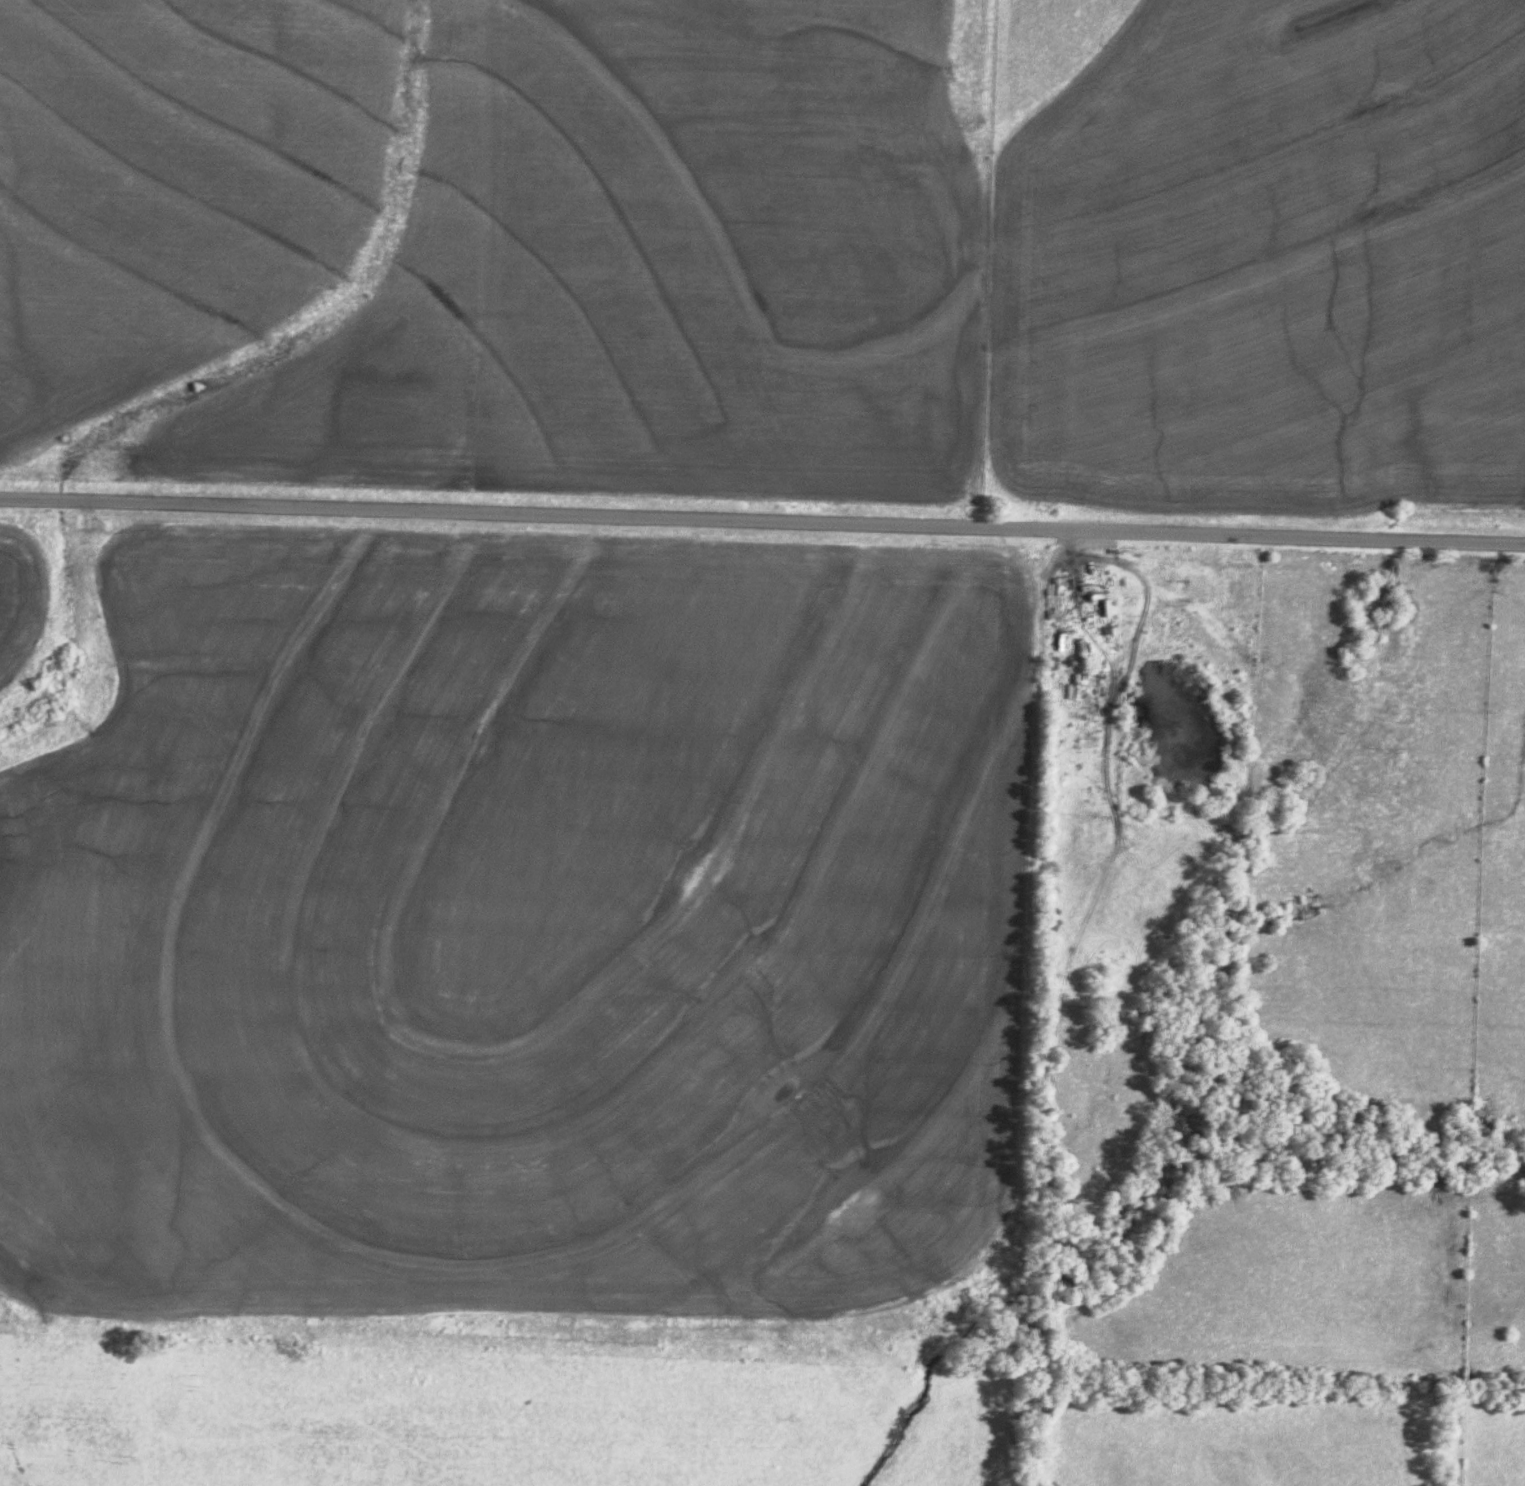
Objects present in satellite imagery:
road: (762, 530)

